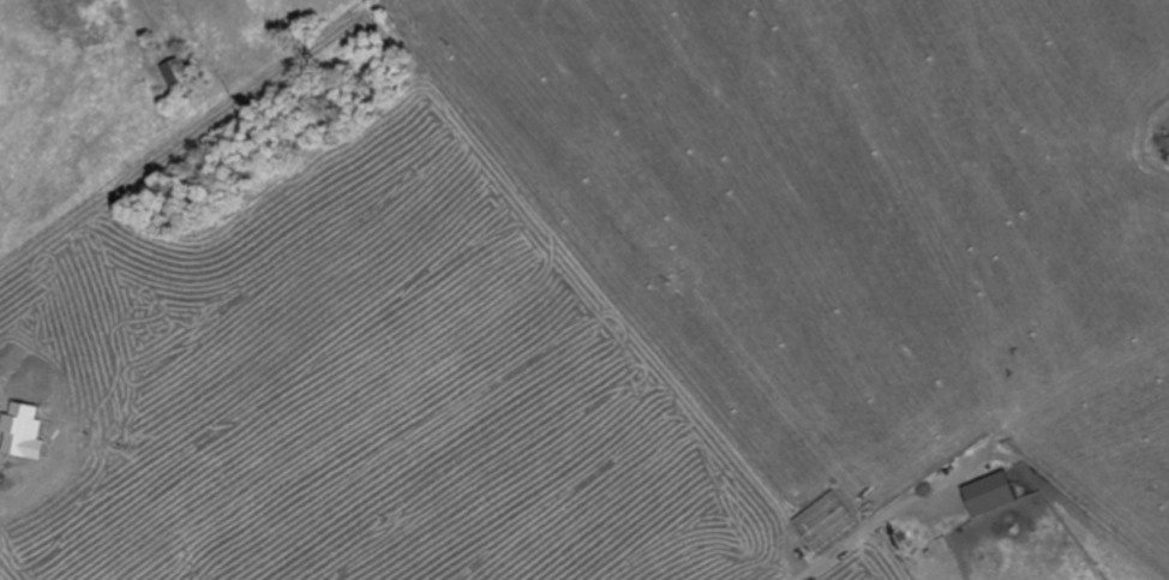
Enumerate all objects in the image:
building: (181, 76)
building: (993, 492)

